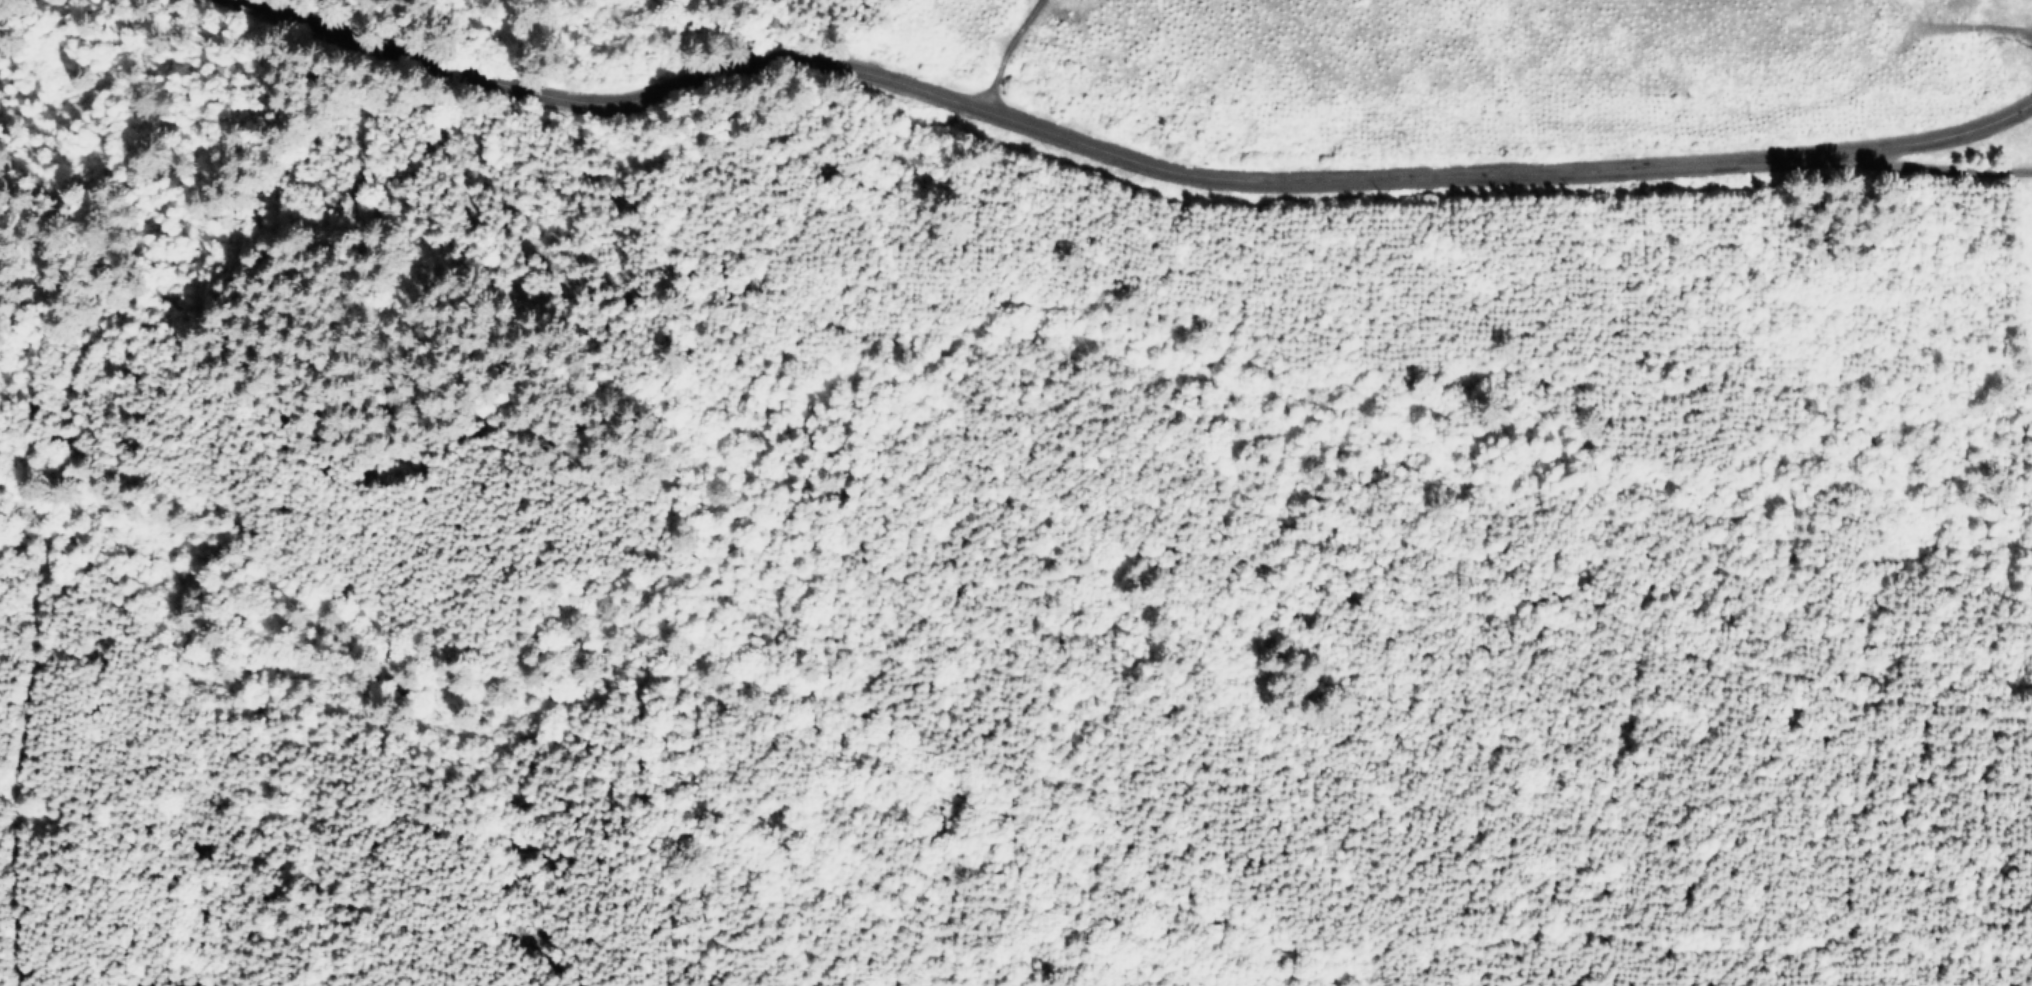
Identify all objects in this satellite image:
road: (41, 25)
road: (5, 37)
road: (1010, 53)
road: (1115, 135)
road: (1980, 150)

